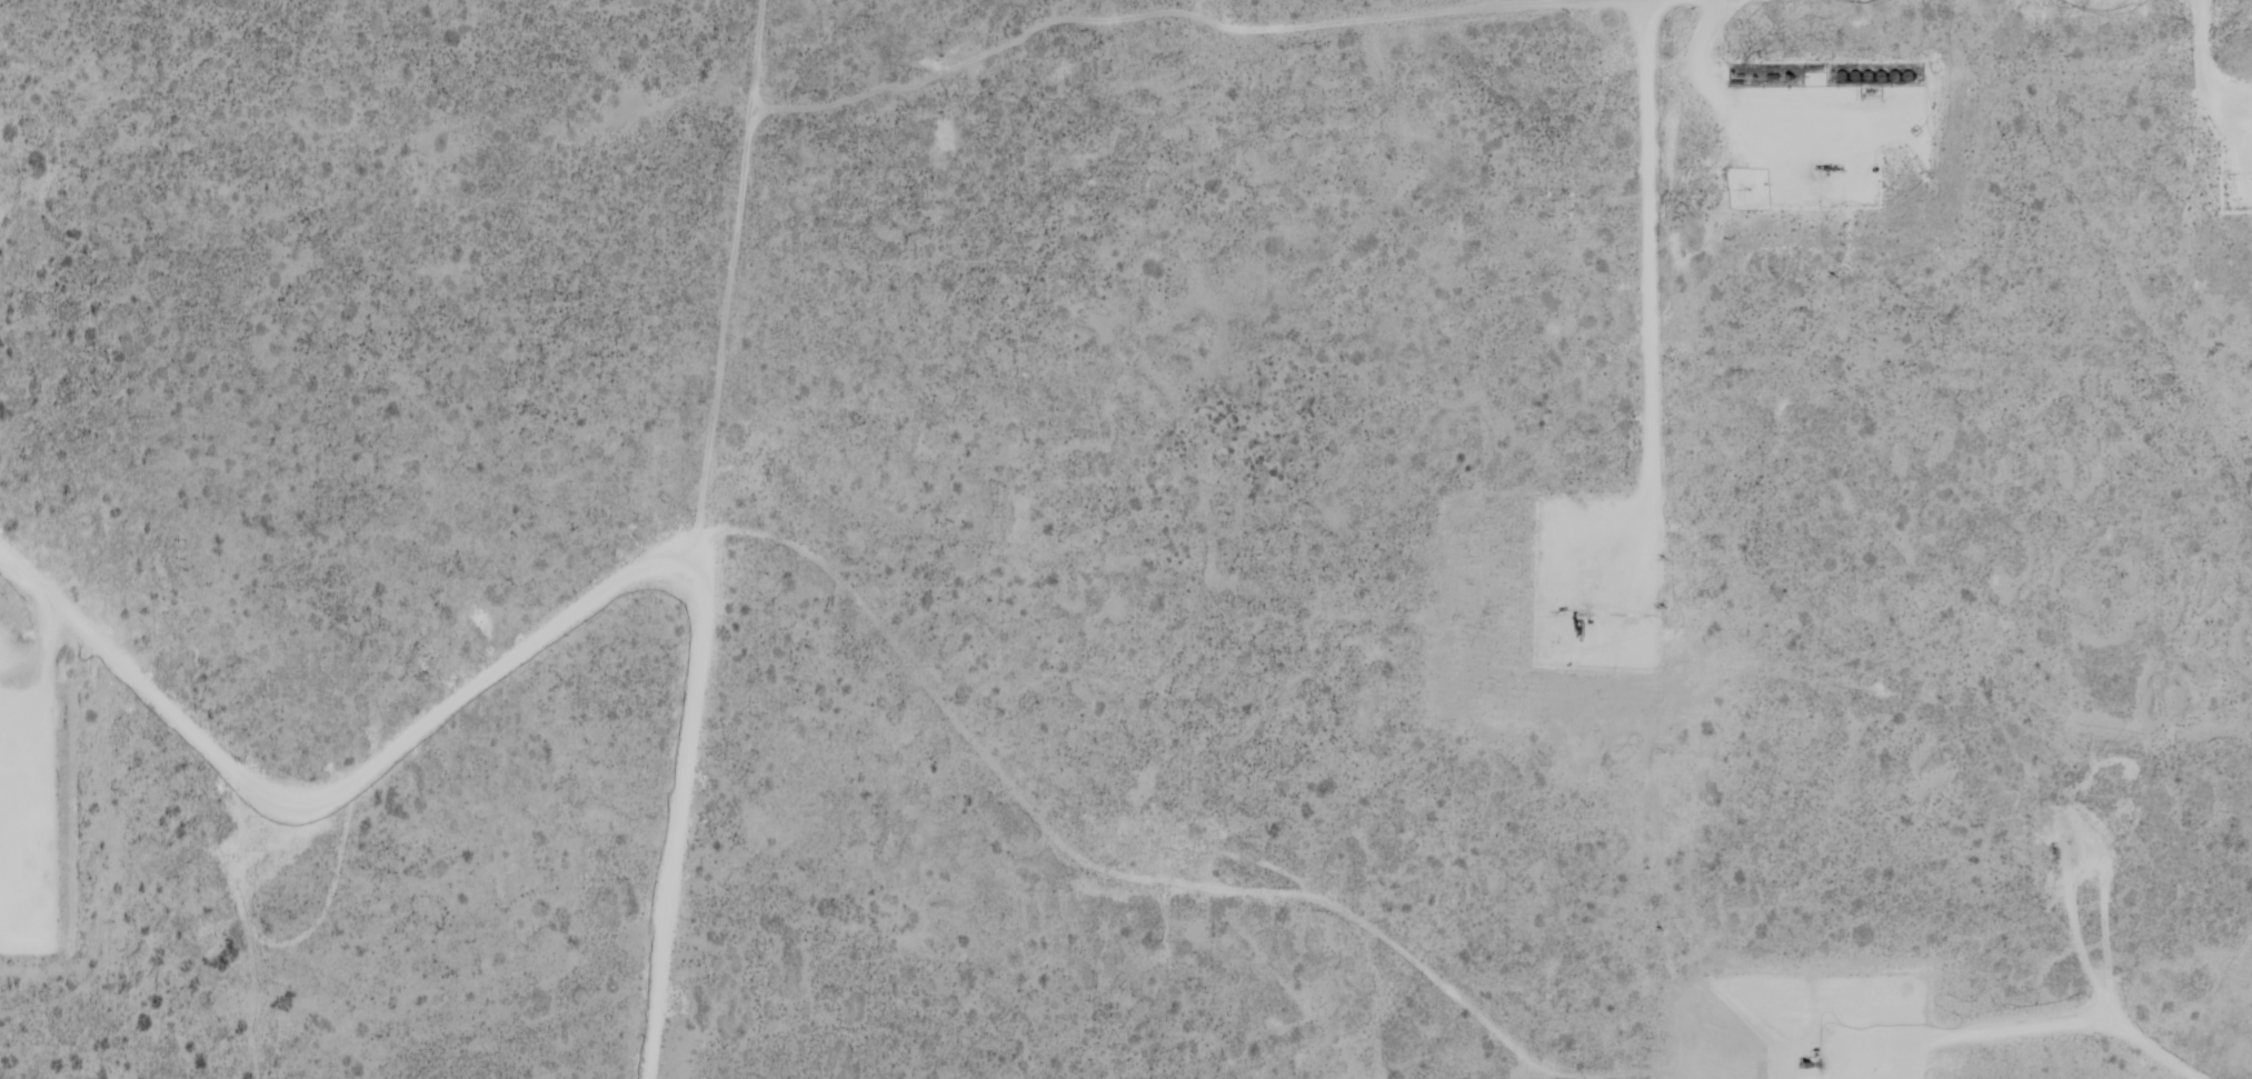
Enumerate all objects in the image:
road: (1202, 288)
road: (559, 630)

